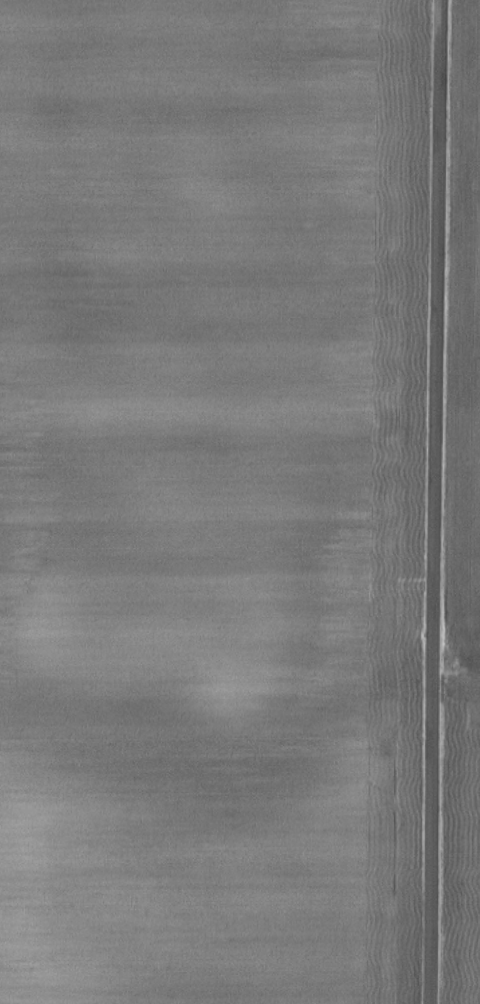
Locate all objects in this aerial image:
road: (432, 502)

